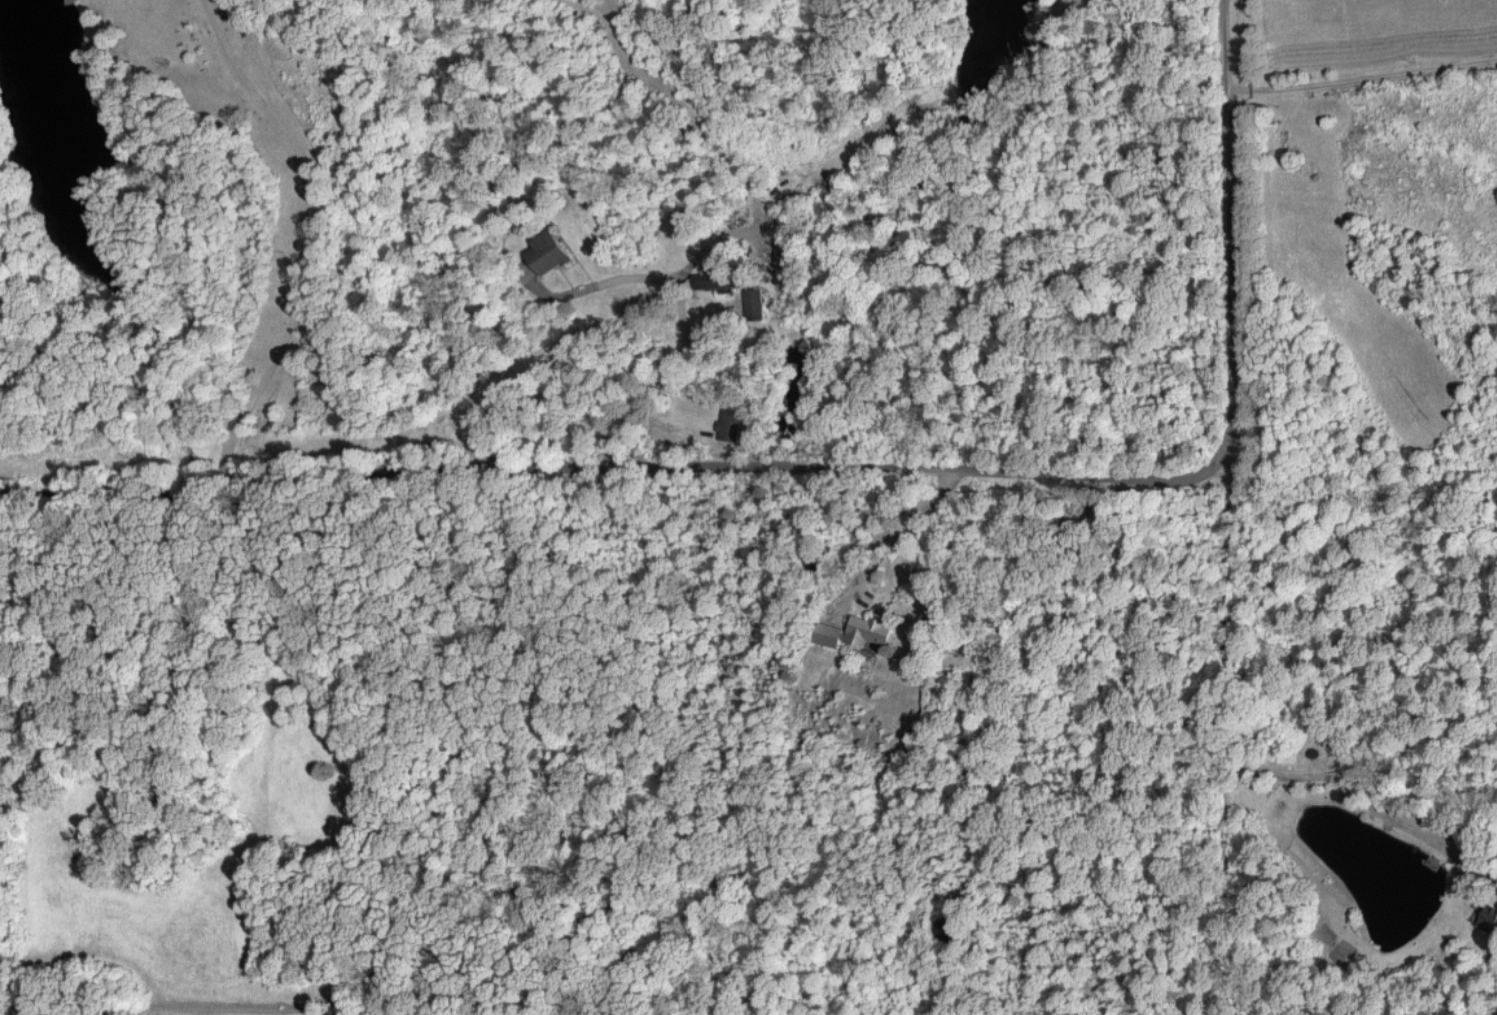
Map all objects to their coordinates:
building: (545, 253)
building: (782, 254)
building: (525, 269)
building: (712, 282)
building: (753, 304)
building: (729, 425)
road: (840, 475)
building: (866, 629)
building: (827, 633)
building: (1411, 815)
building: (1489, 918)

